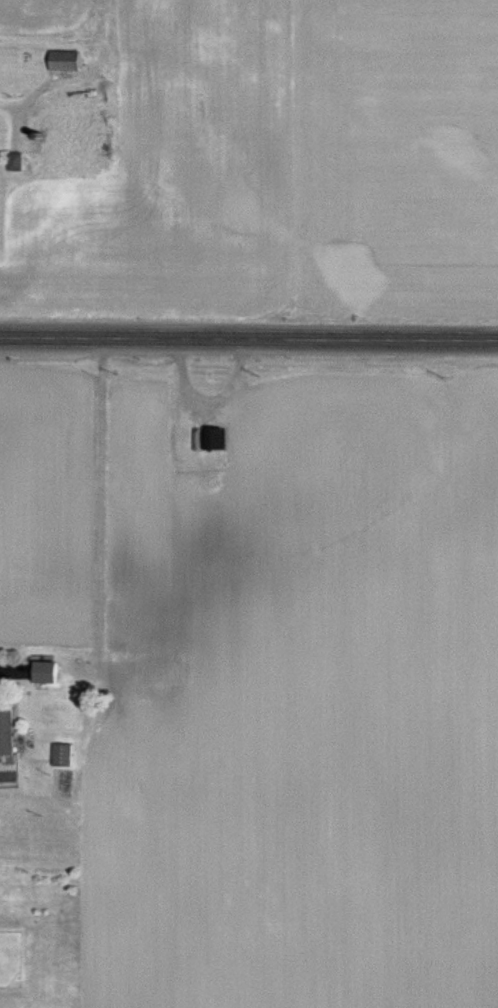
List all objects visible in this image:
building: (60, 63)
road: (5, 105)
building: (57, 125)
road: (248, 344)
building: (207, 444)
road: (3, 670)
building: (158, 674)
building: (40, 677)
building: (4, 733)
building: (58, 760)

